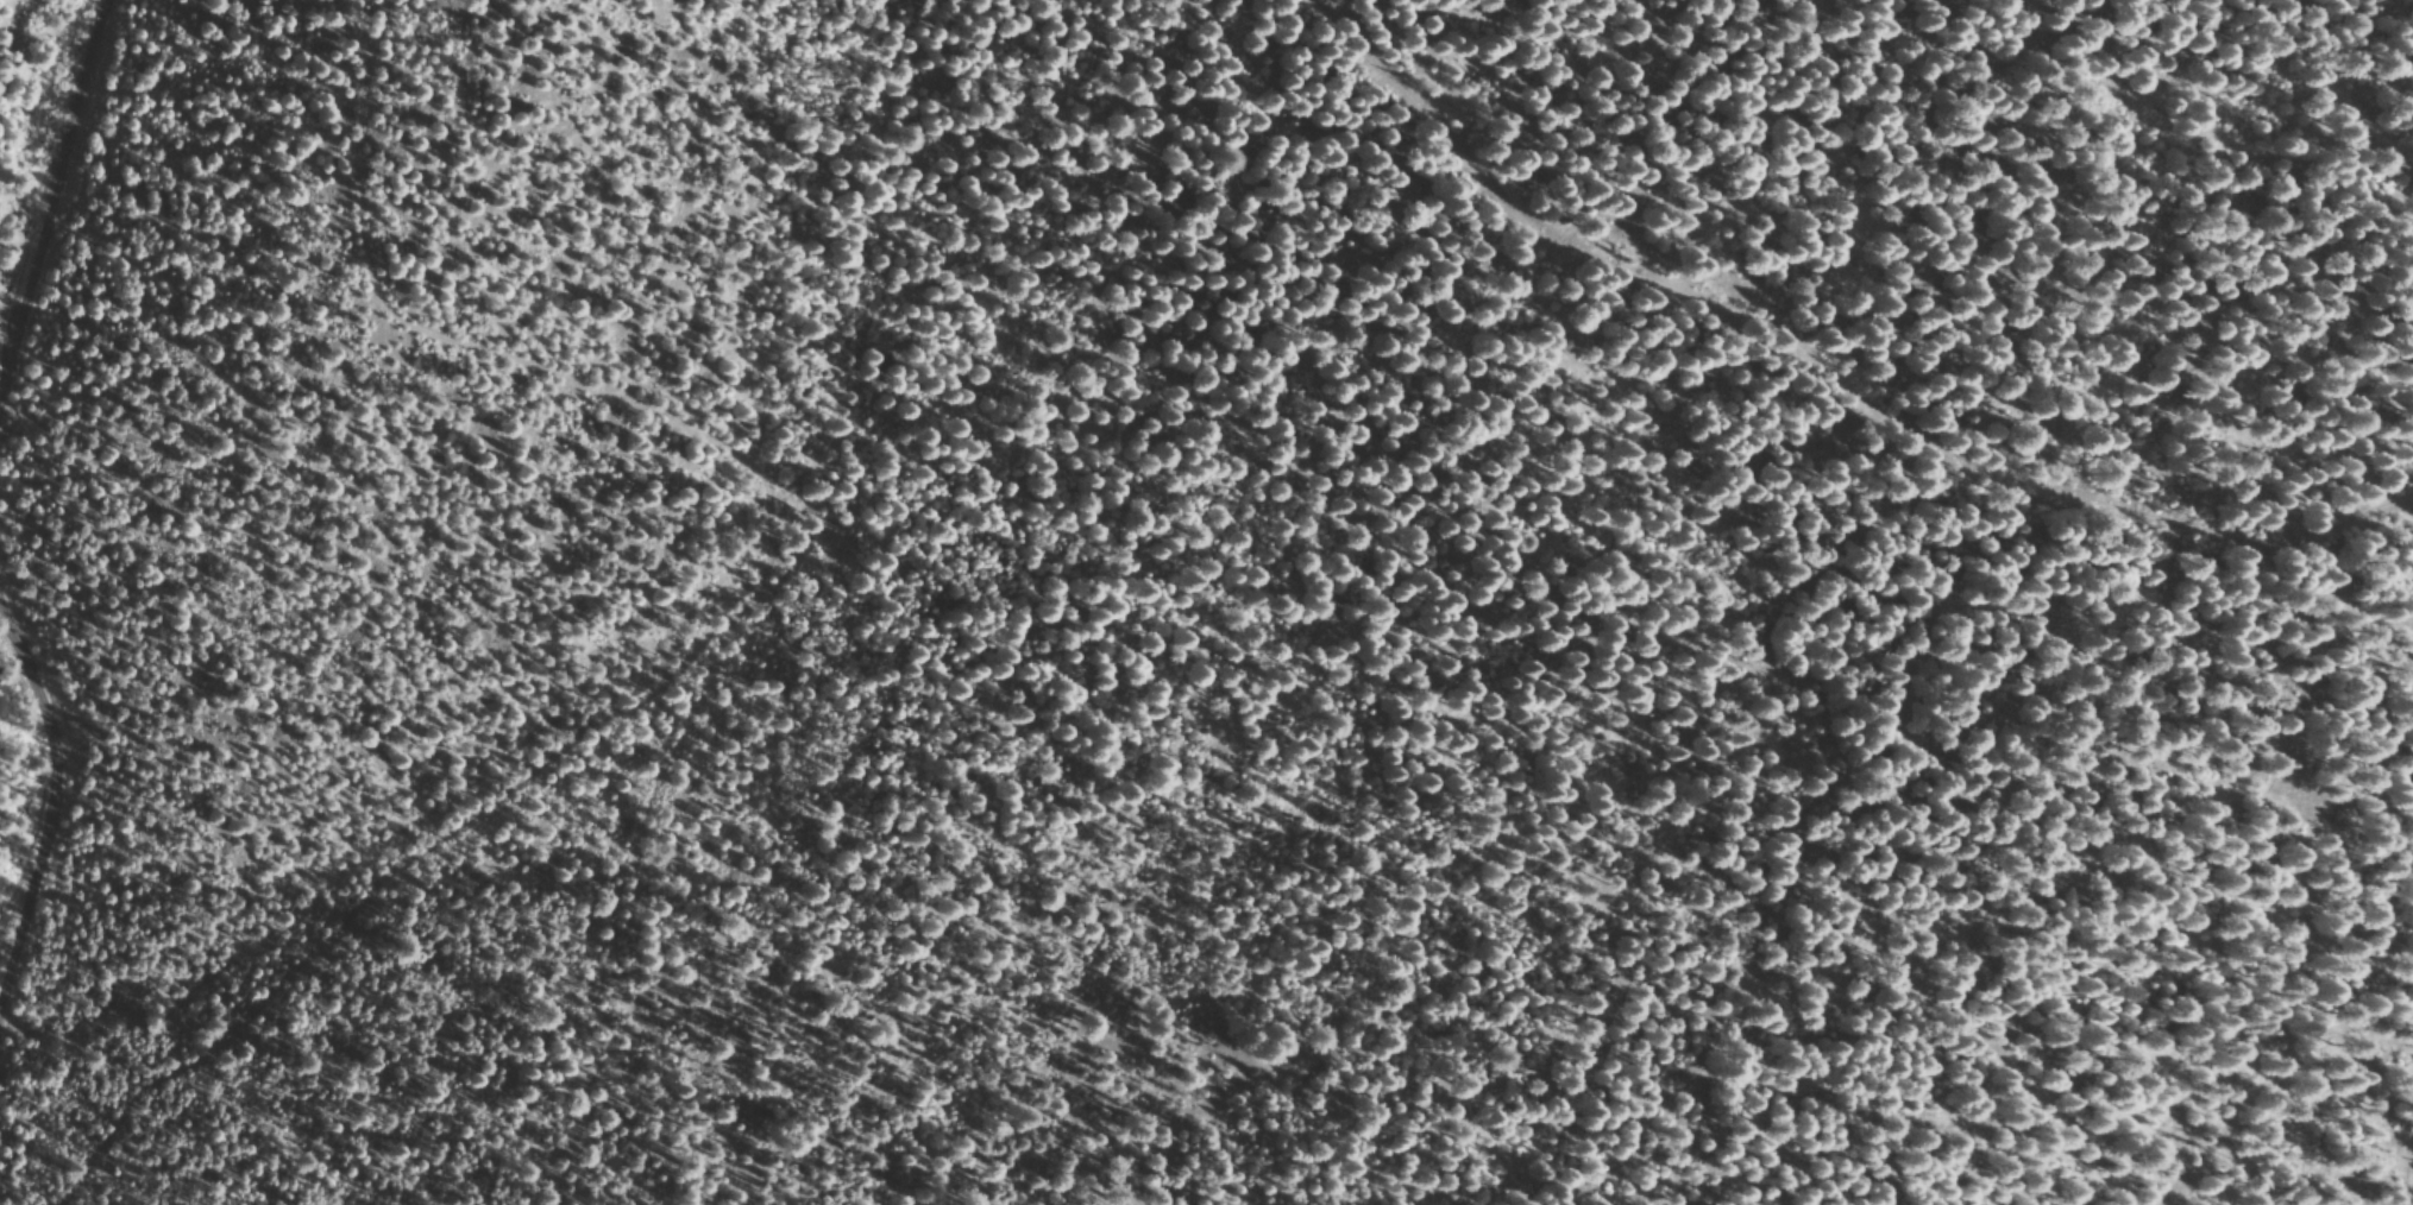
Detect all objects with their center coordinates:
road: (68, 214)
building: (0, 263)
road: (1770, 410)
road: (57, 914)
road: (2402, 1199)

